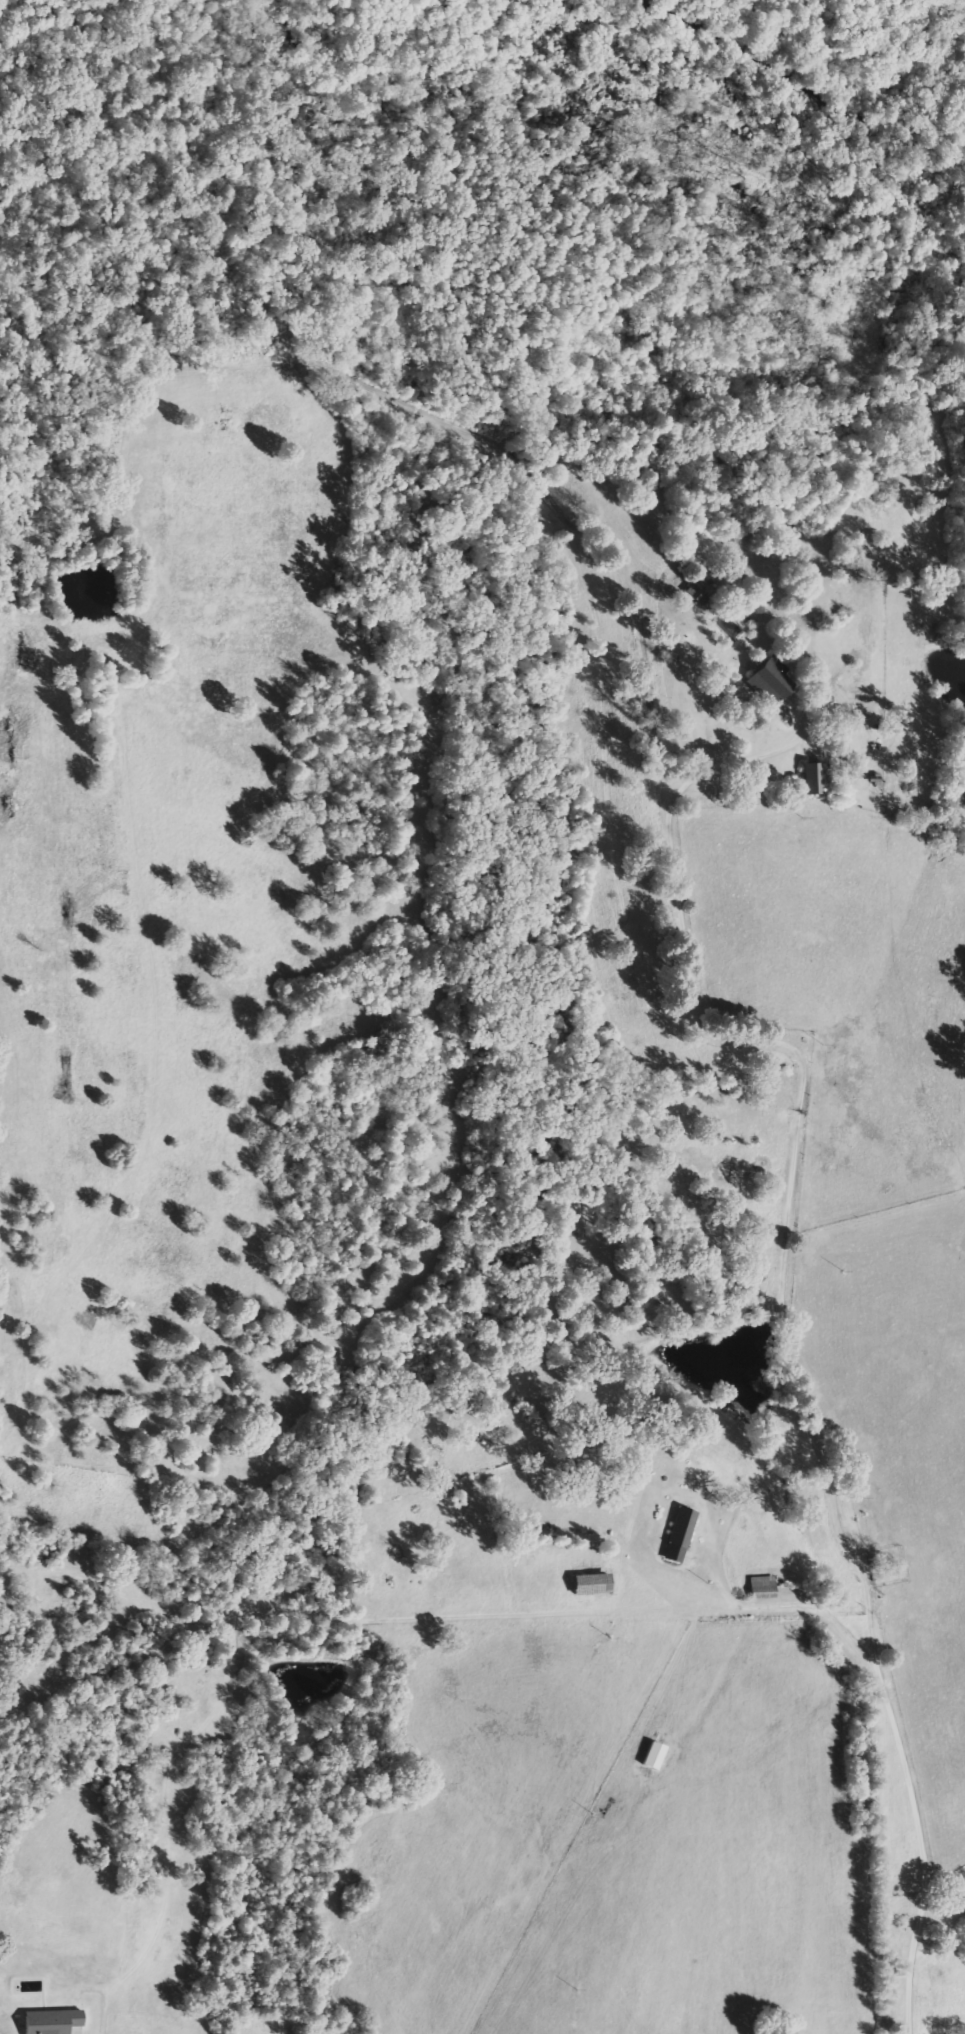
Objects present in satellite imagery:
building: (764, 678)
building: (813, 778)
building: (678, 1536)
building: (761, 1588)
building: (651, 1757)
building: (55, 2021)

